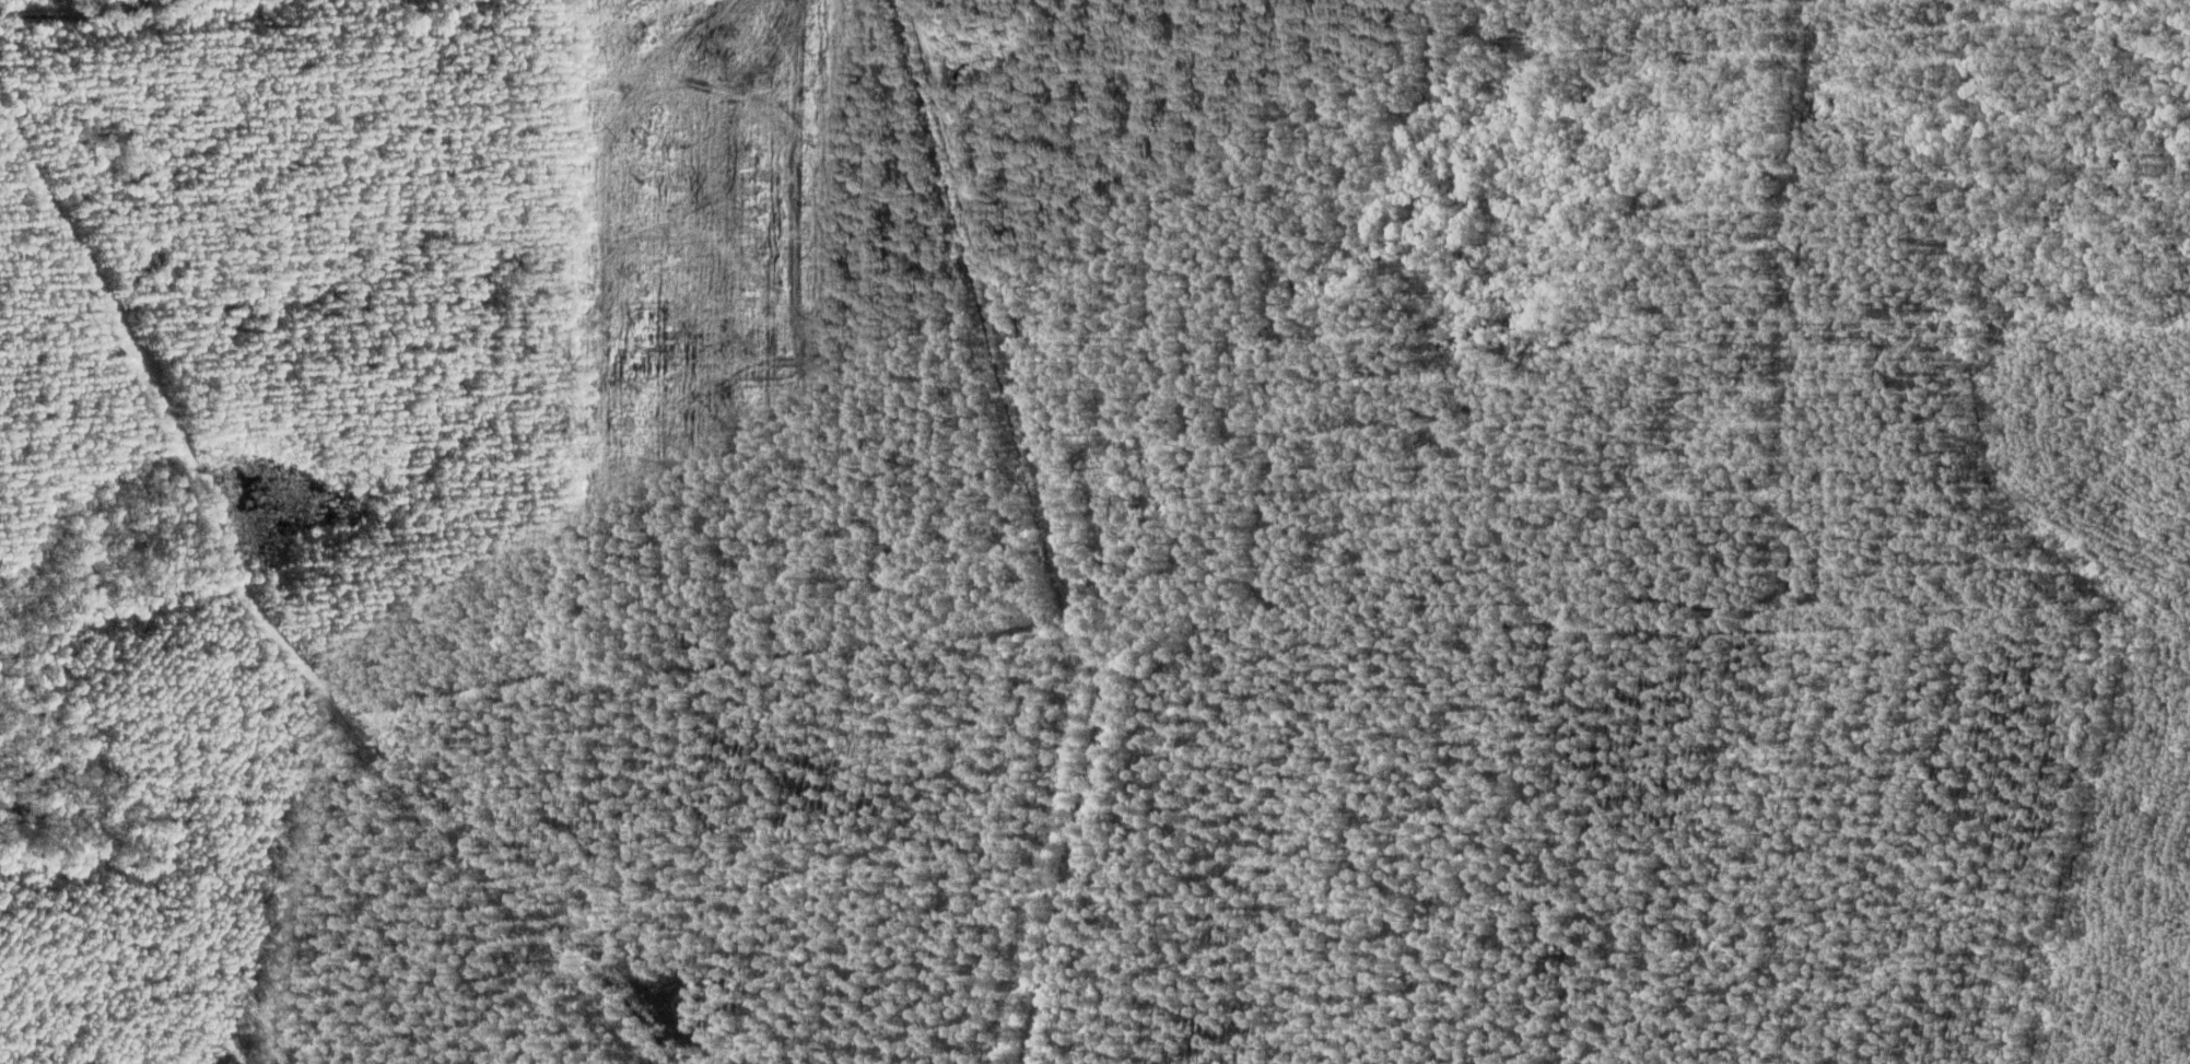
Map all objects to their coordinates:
road: (62, 215)
road: (330, 712)

